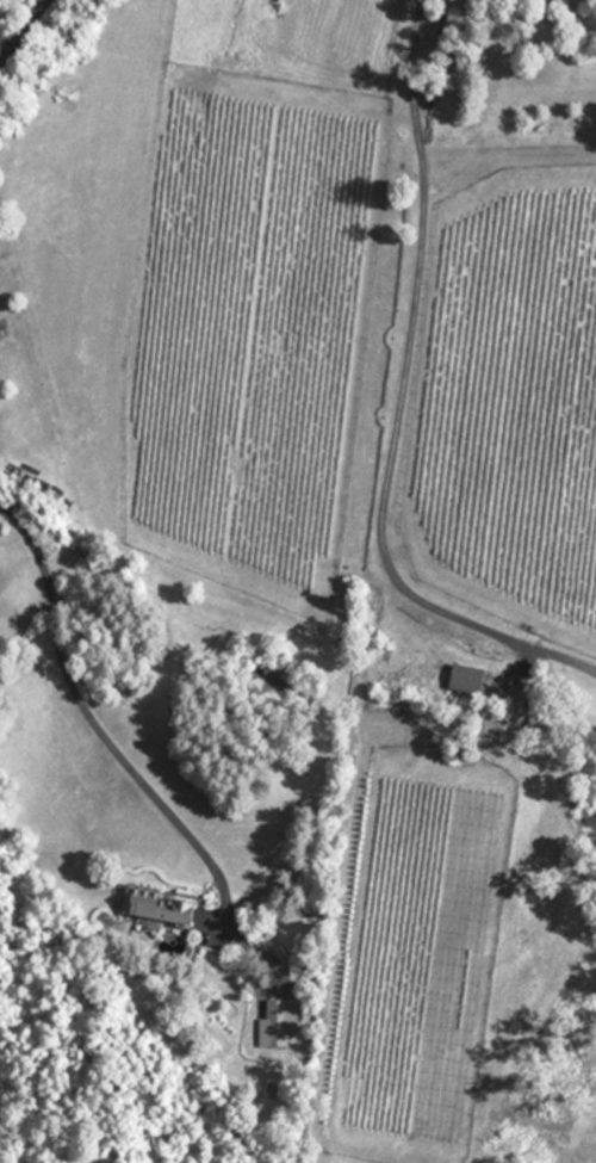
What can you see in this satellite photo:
road: (20, 26)
road: (397, 404)
building: (466, 680)
road: (95, 728)
building: (159, 905)
building: (277, 1012)

